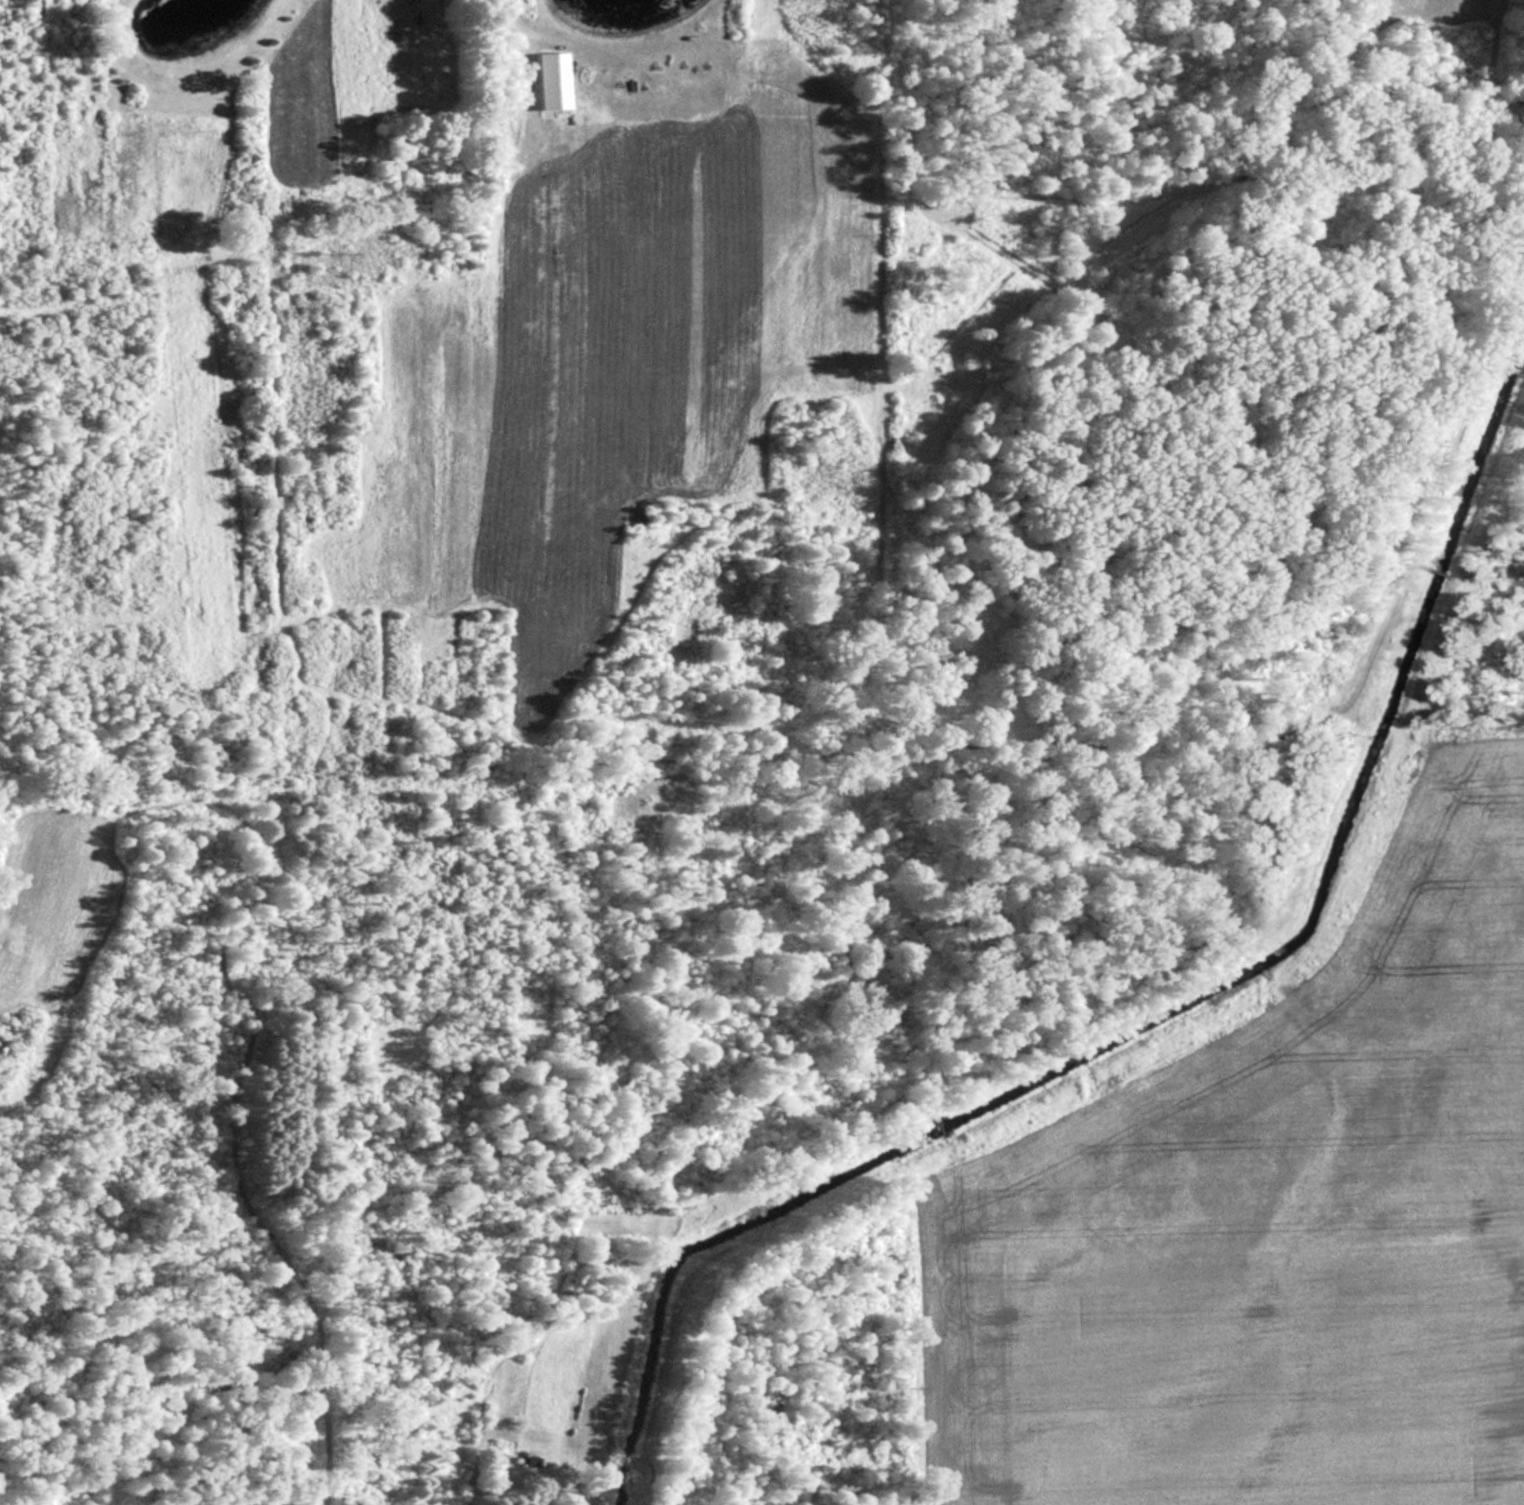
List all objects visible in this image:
building: (526, 1462)

